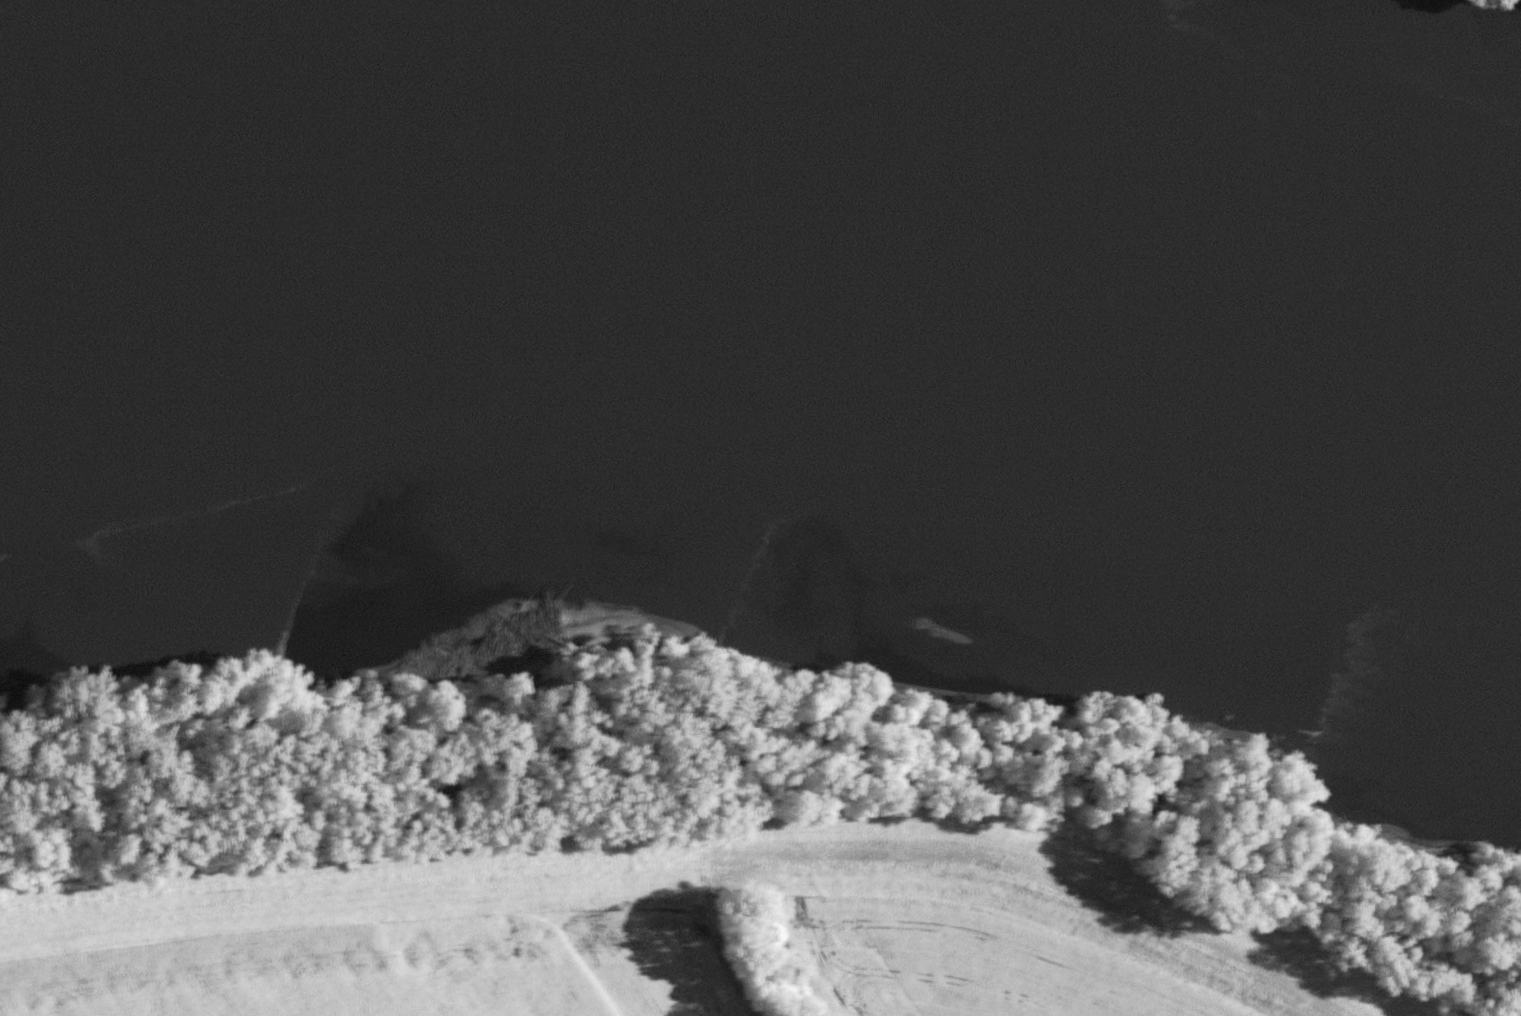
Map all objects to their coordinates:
river: (758, 327)

